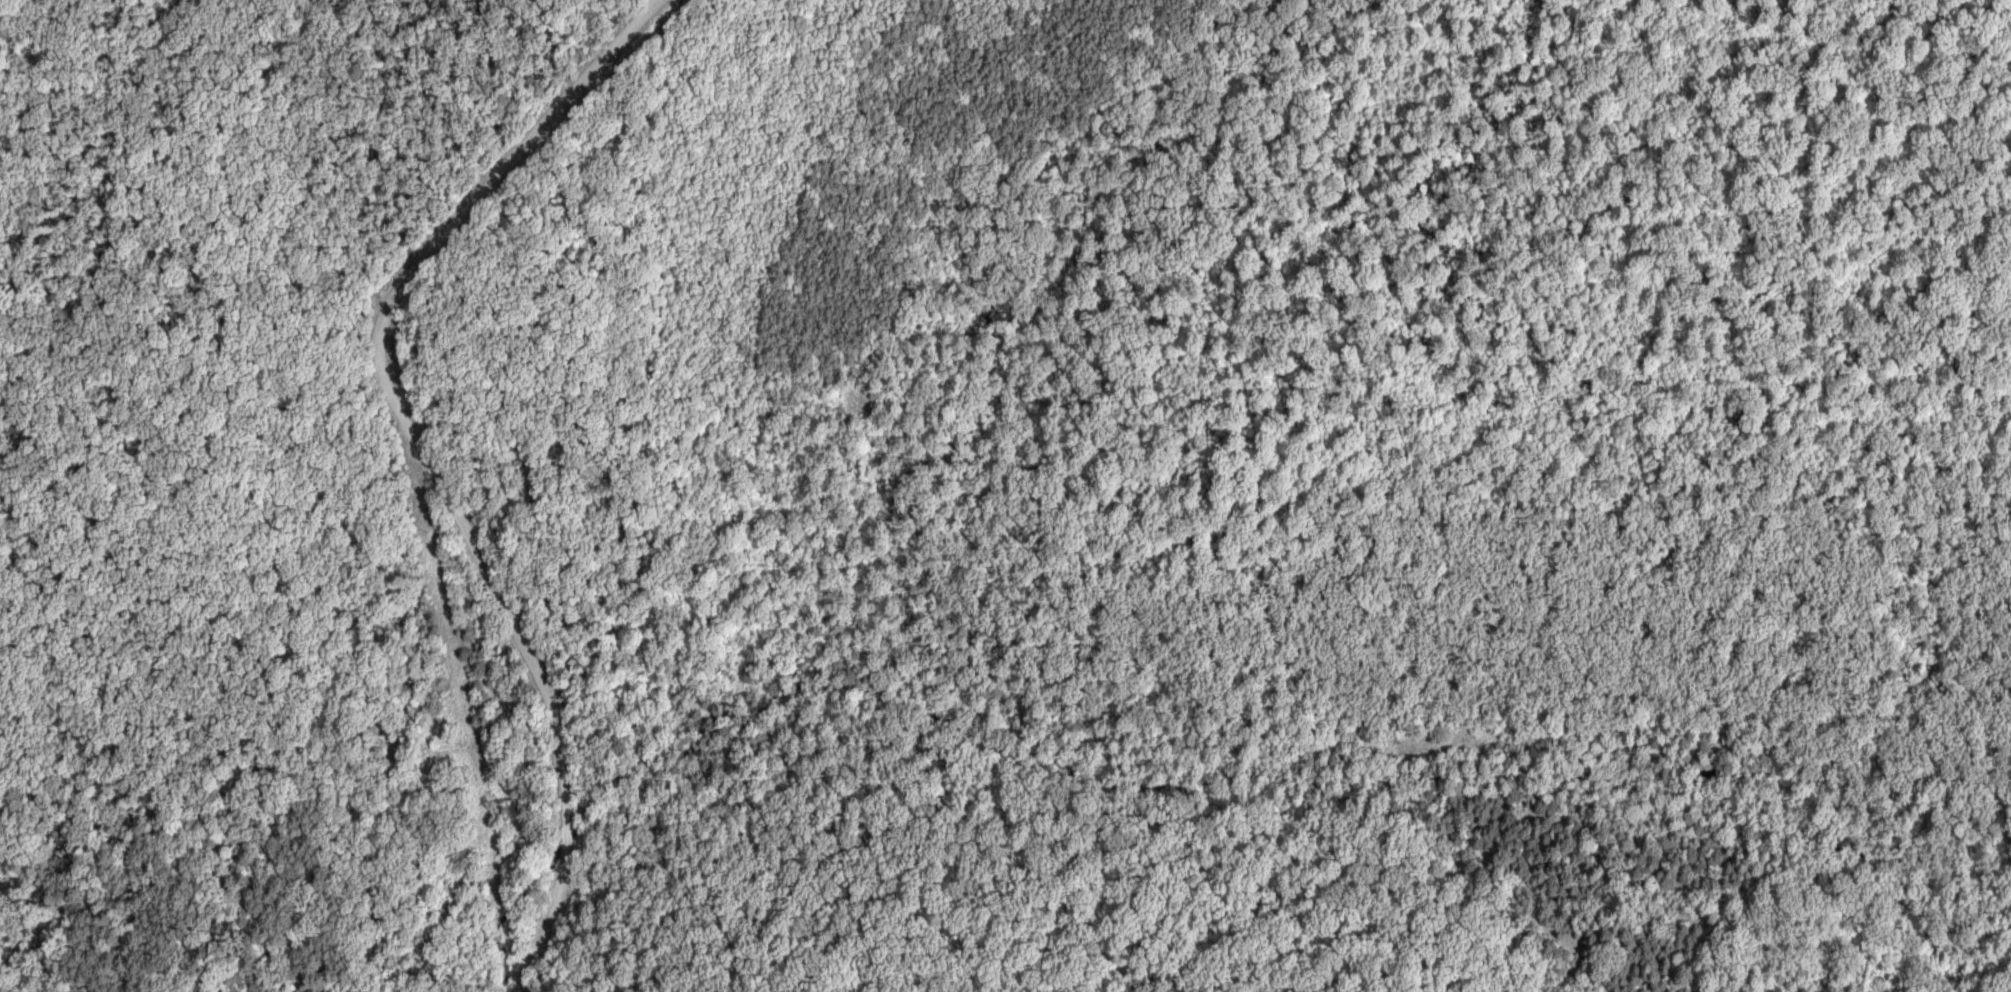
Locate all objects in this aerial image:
road: (461, 484)

